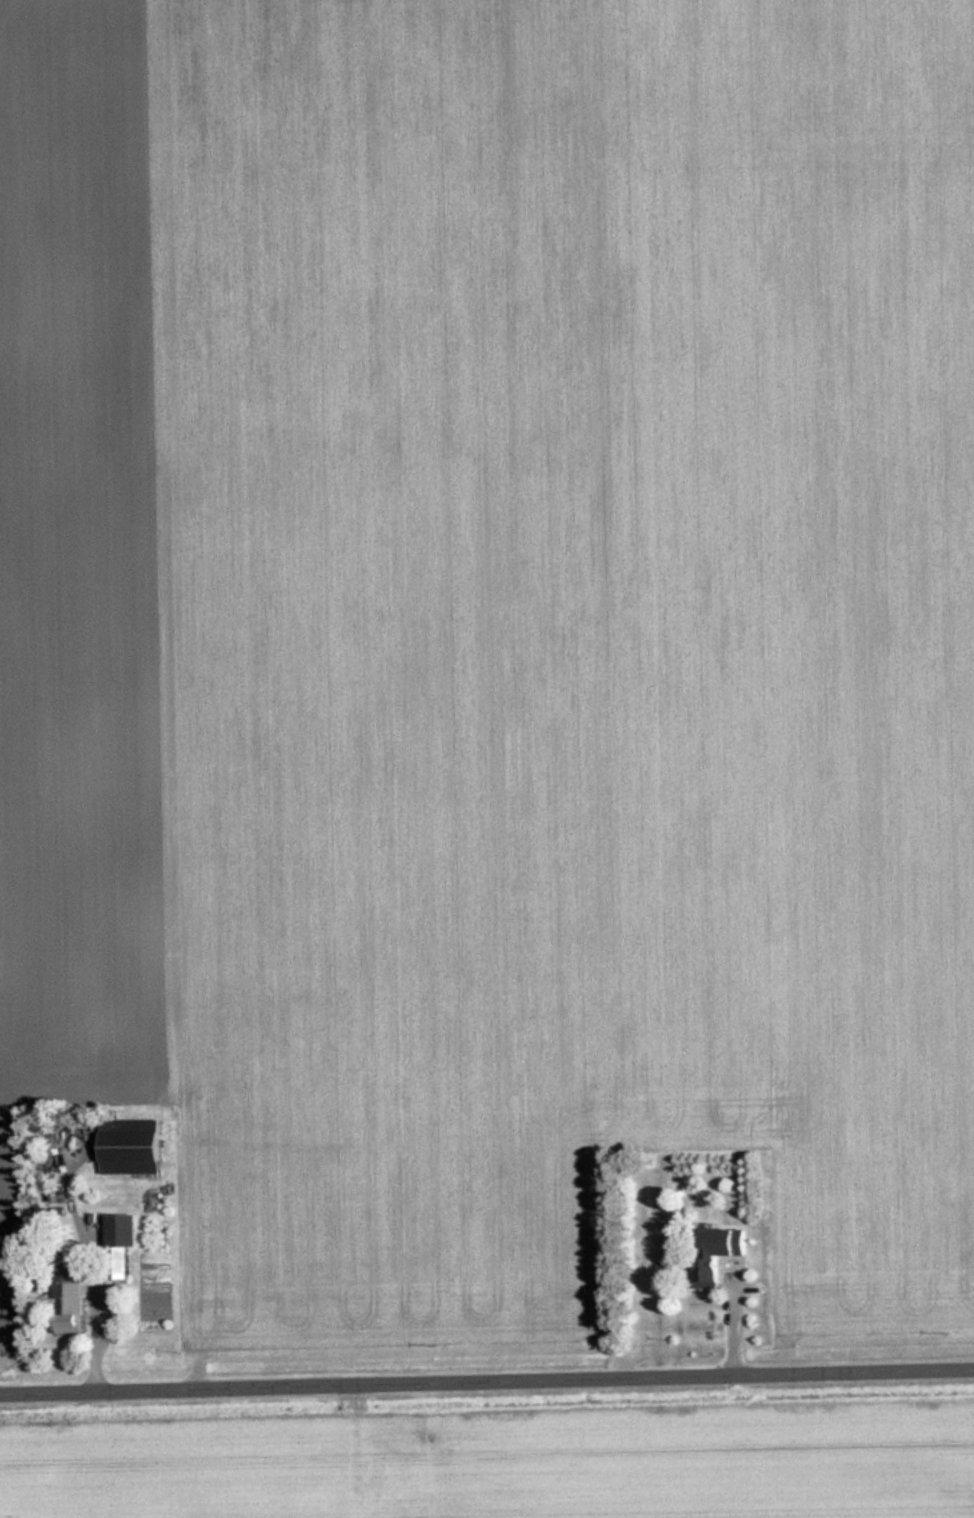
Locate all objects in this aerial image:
building: (132, 1145)
building: (123, 1230)
building: (717, 1255)
building: (69, 1299)
road: (487, 1378)

